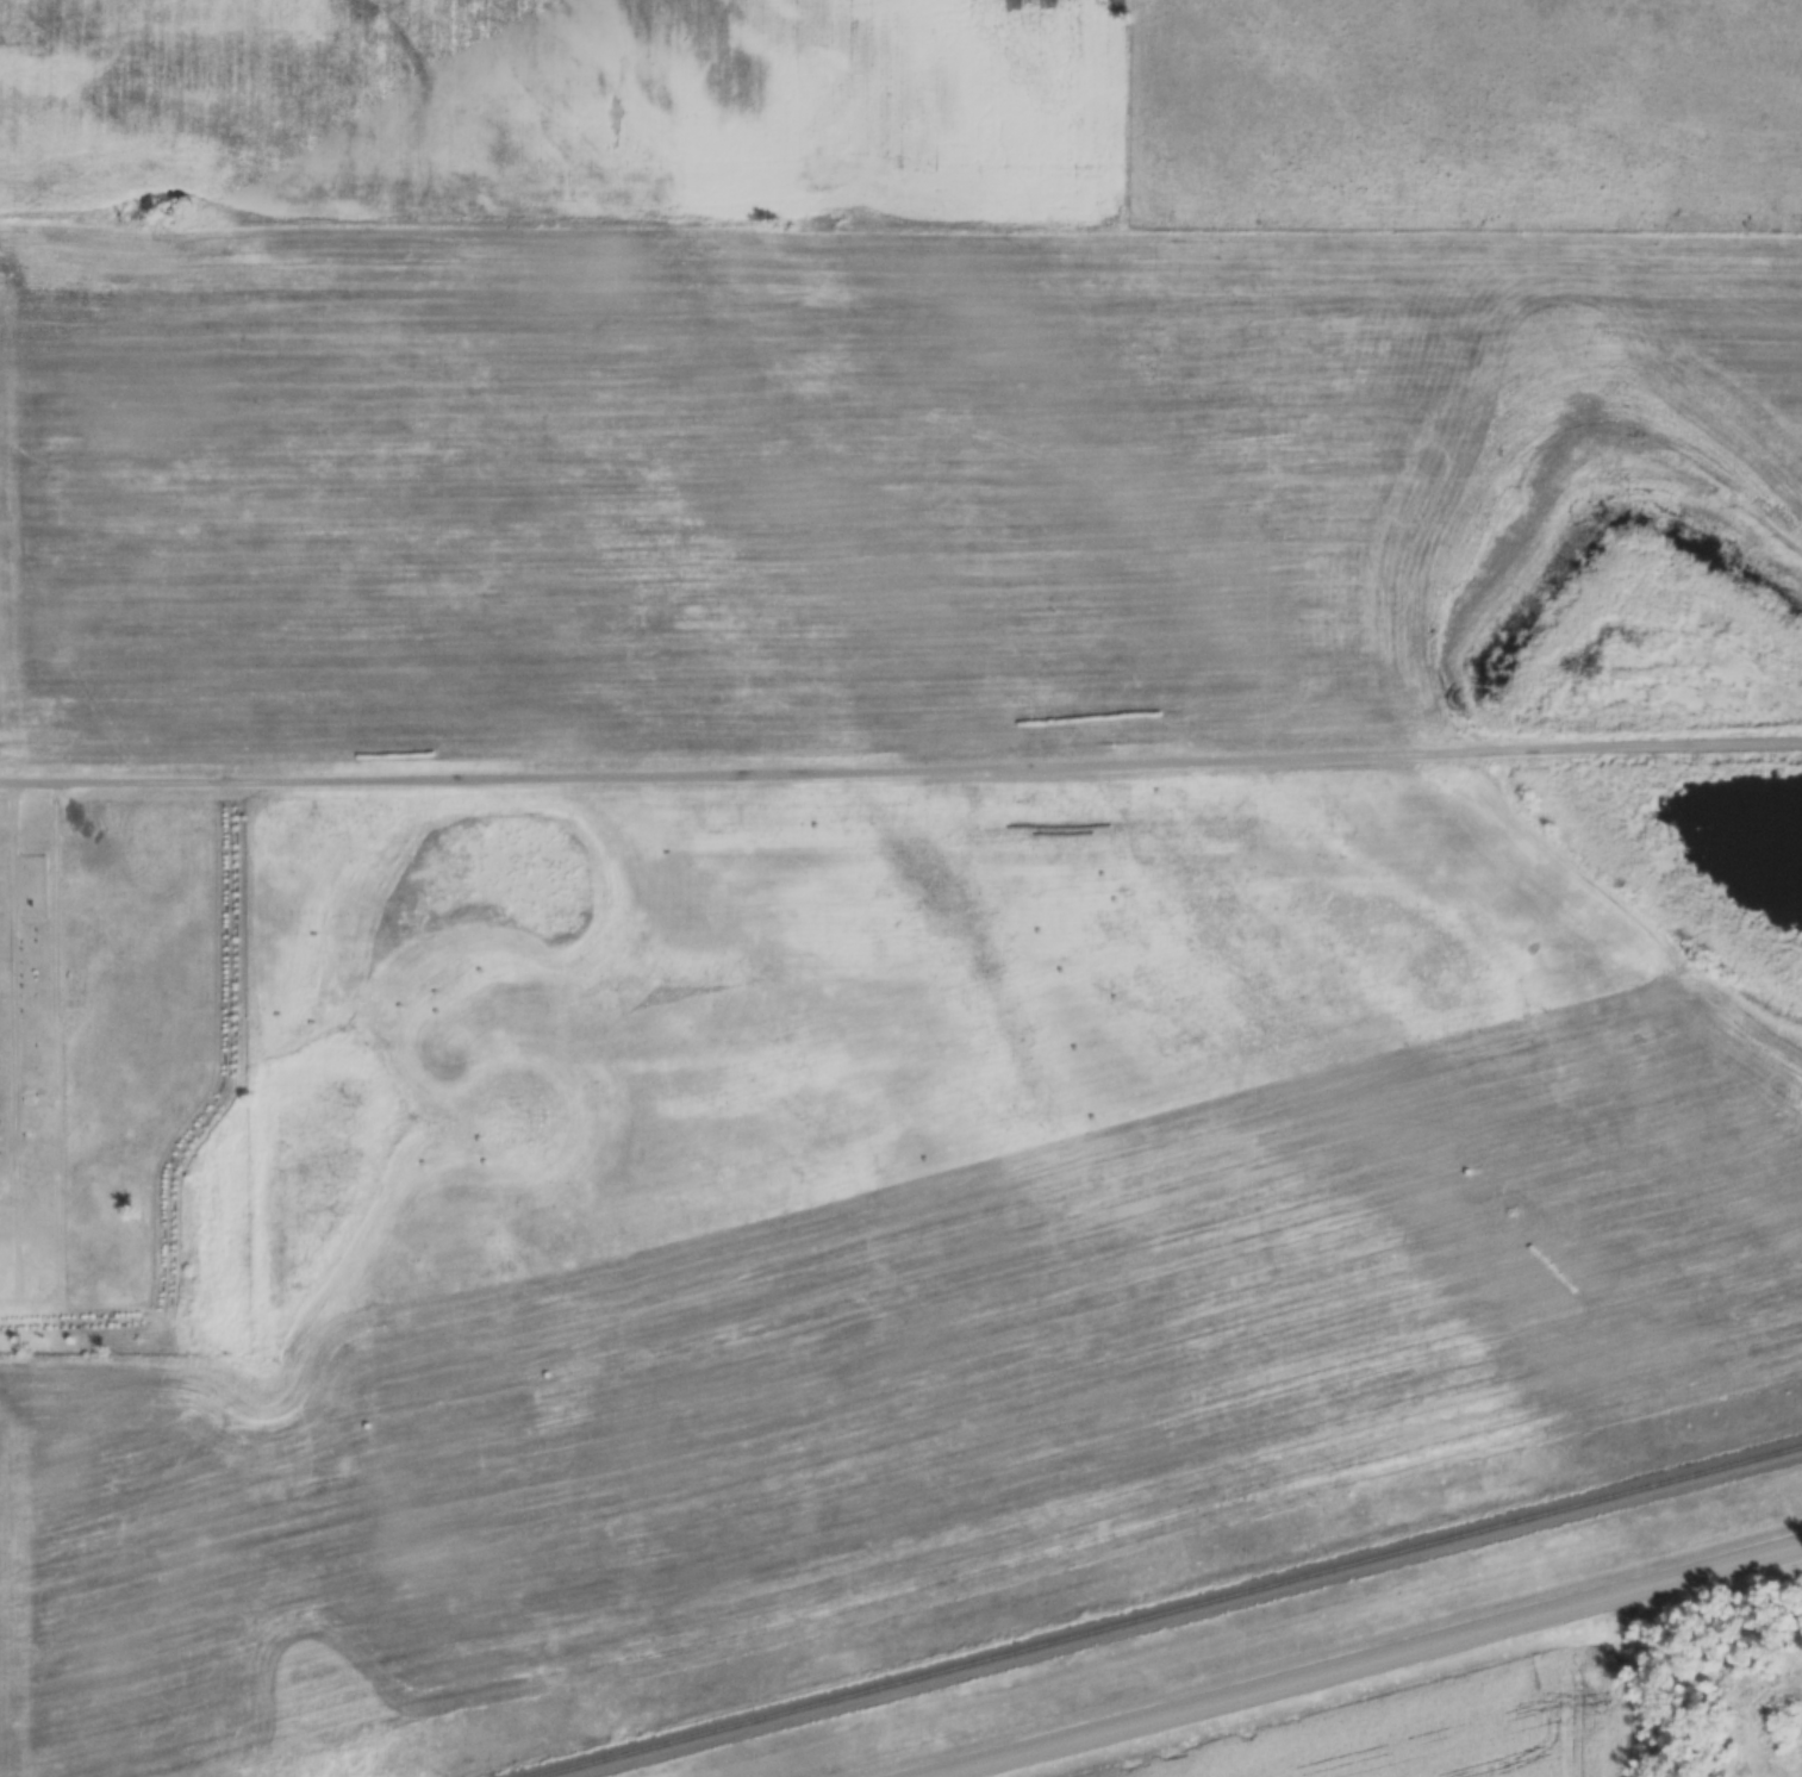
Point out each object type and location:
road: (900, 769)
railway: (1167, 1610)
road: (1352, 1657)

